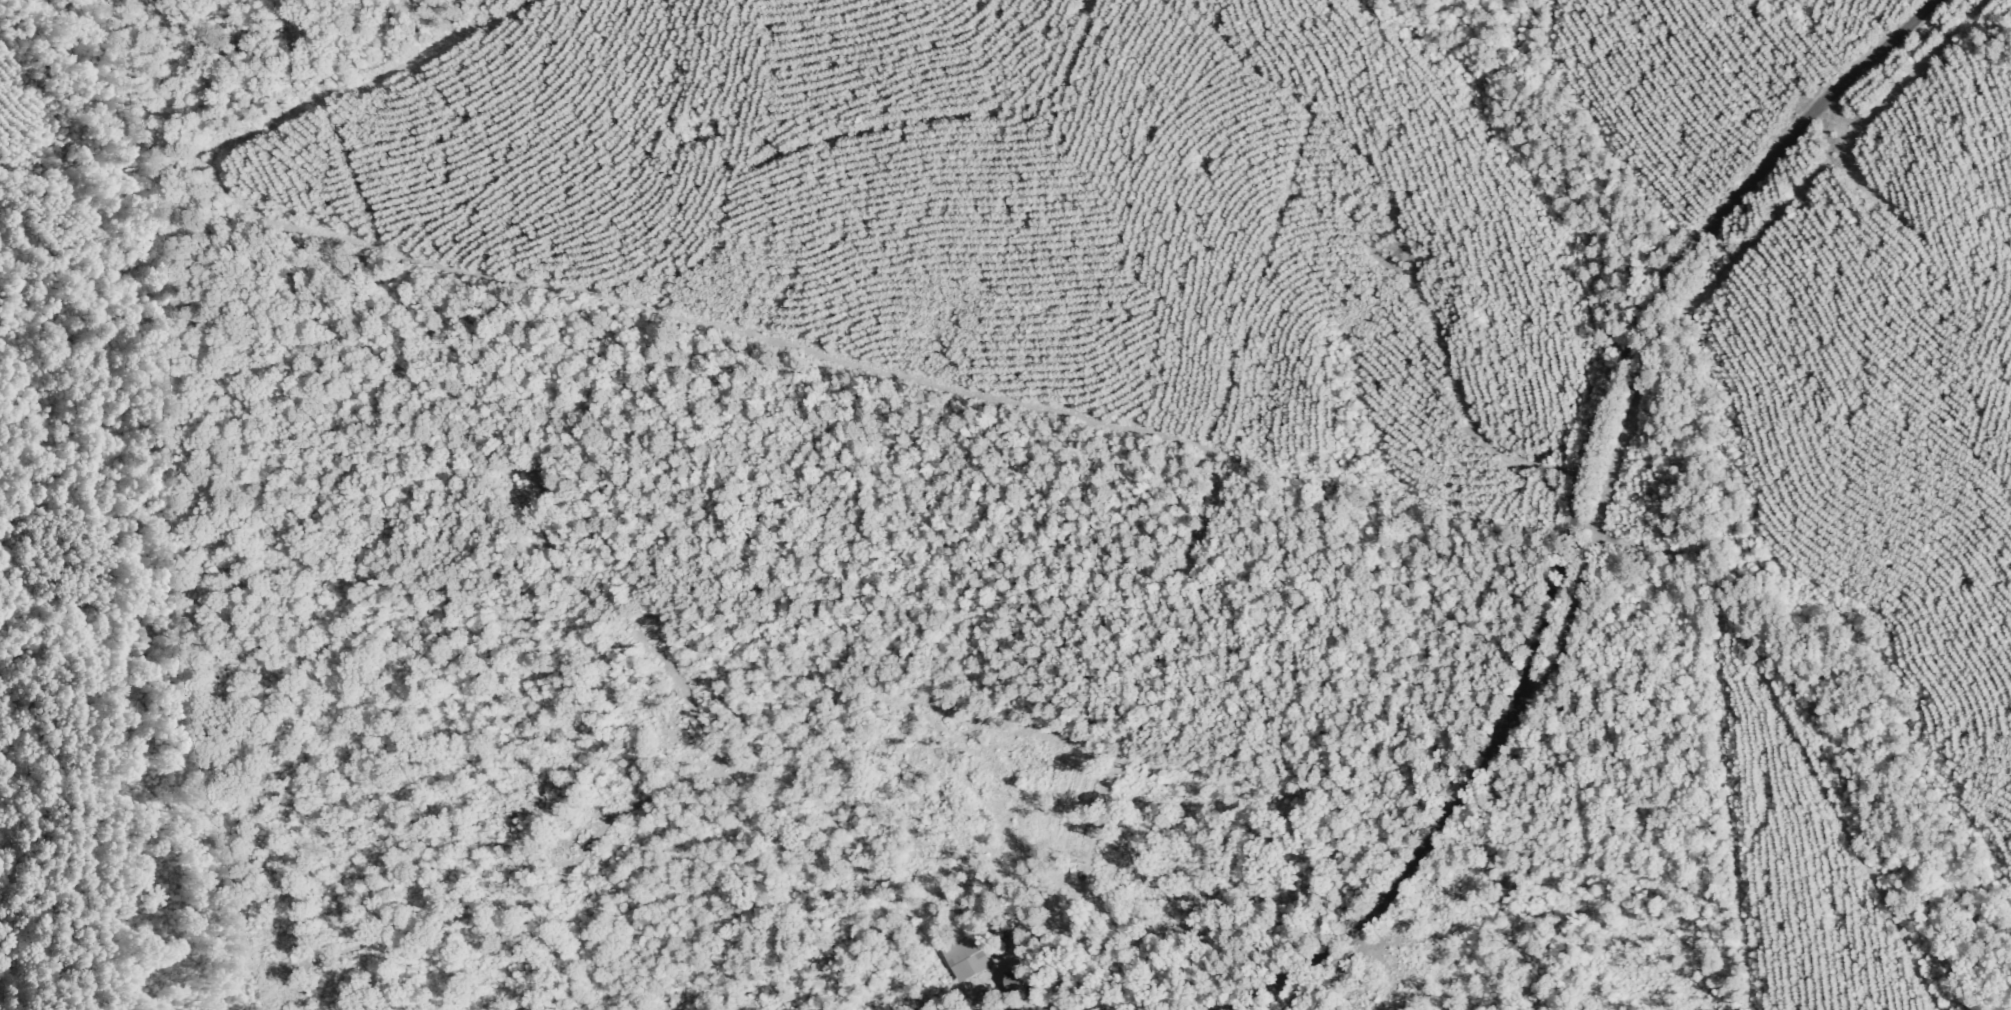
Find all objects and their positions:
road: (1404, 206)
road: (1586, 504)
building: (967, 959)

